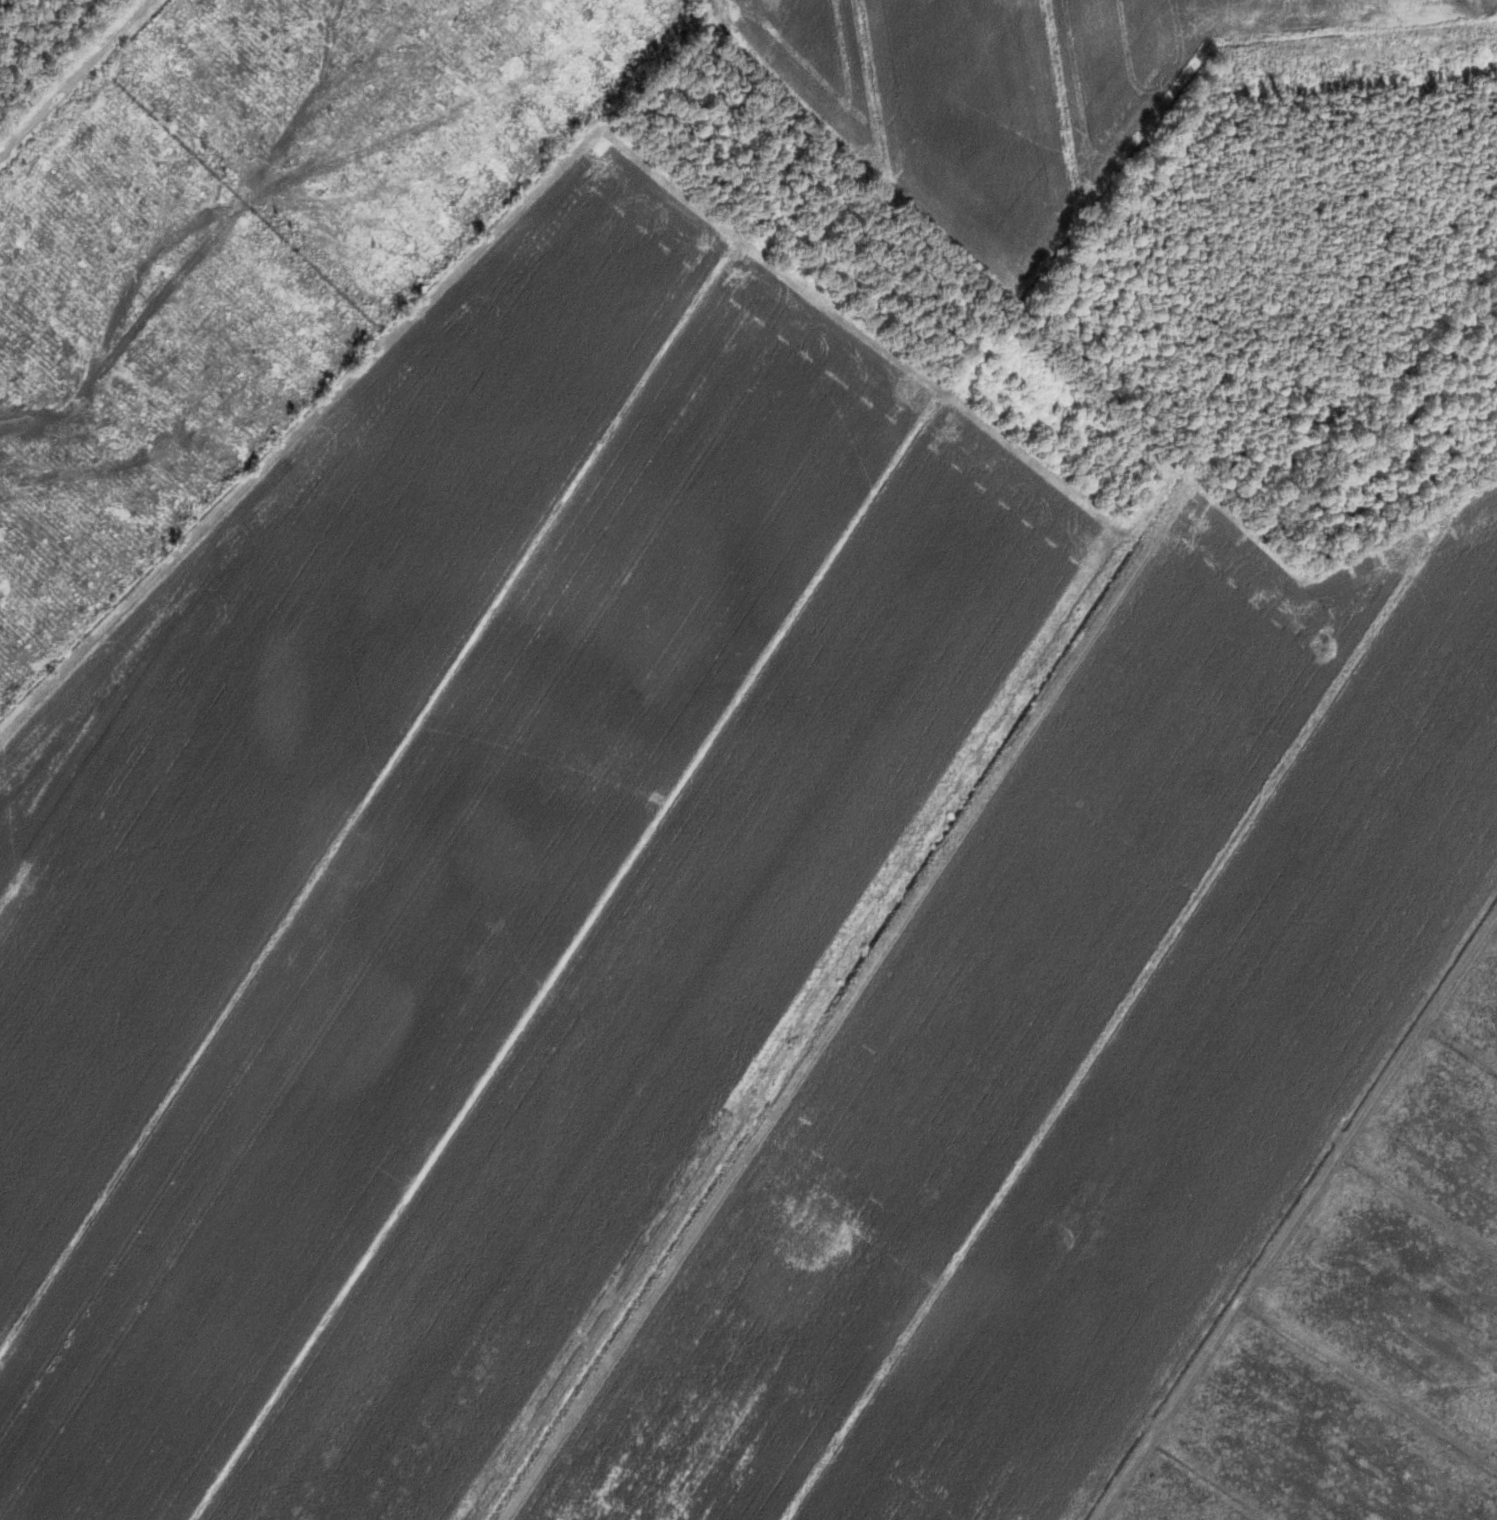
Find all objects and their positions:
road: (70, 74)

